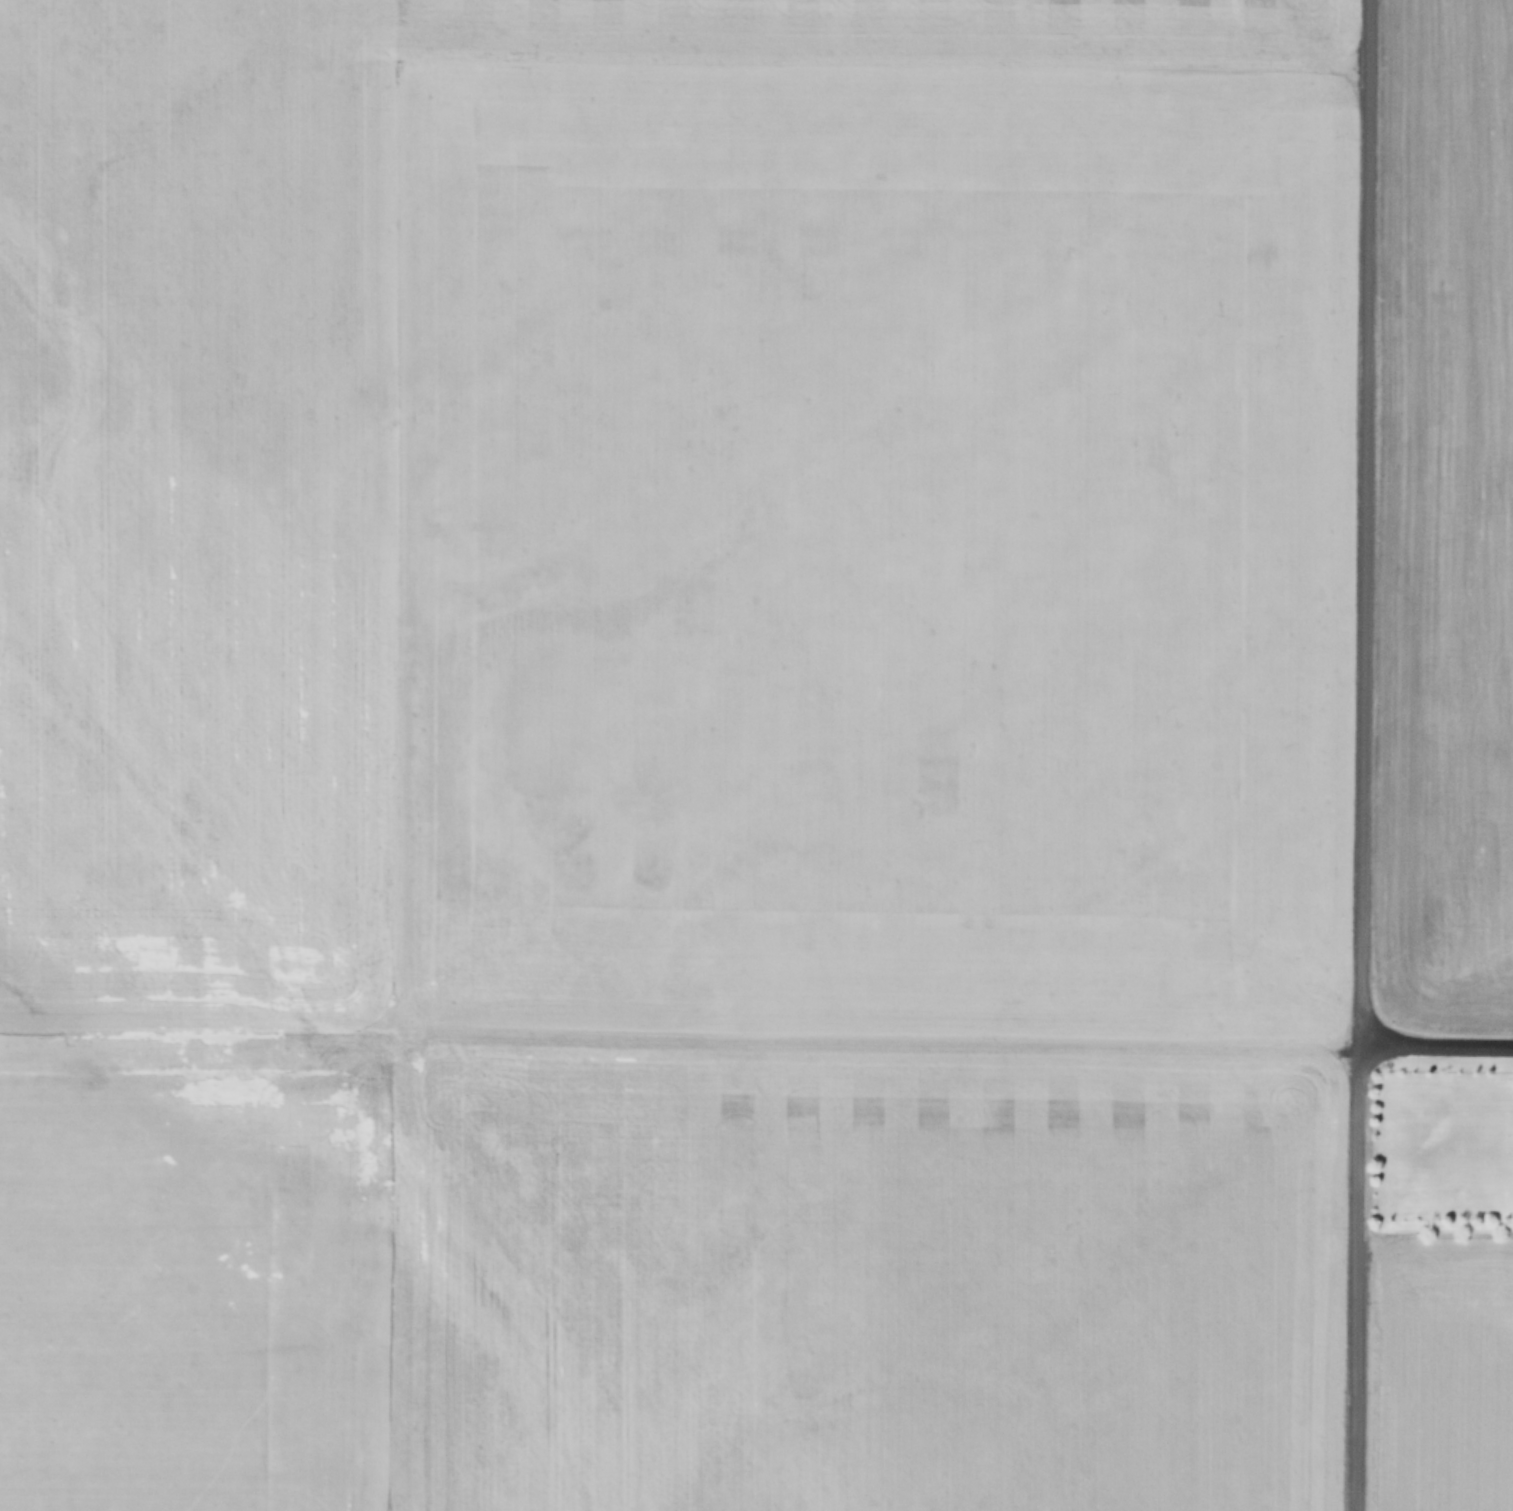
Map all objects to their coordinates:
road: (1364, 755)
road: (1437, 1044)

